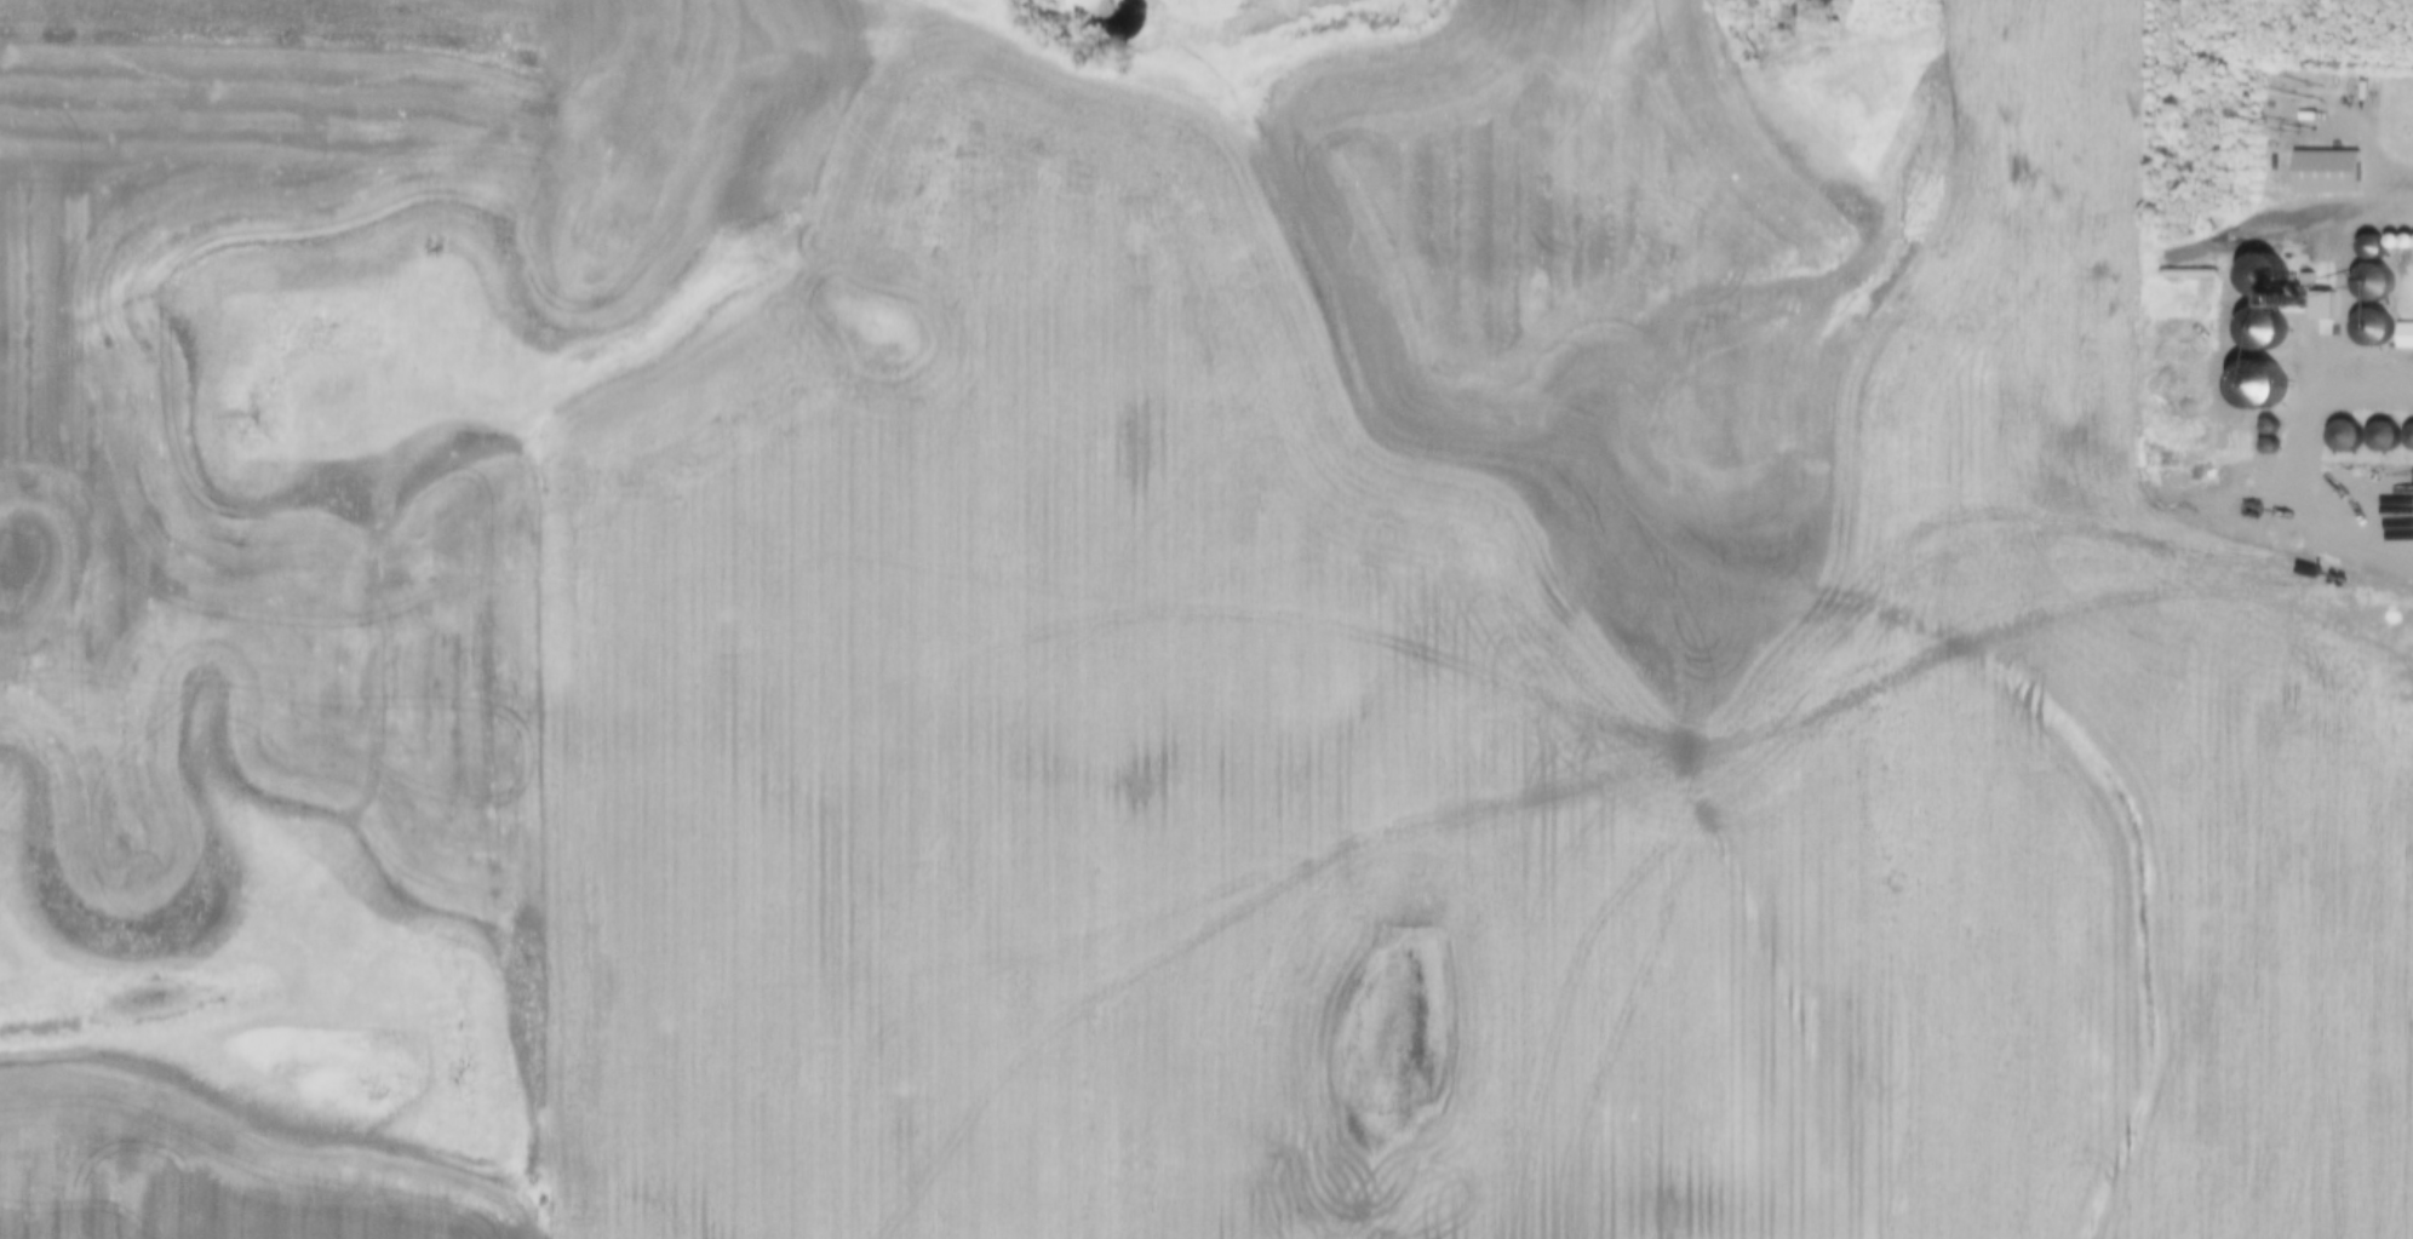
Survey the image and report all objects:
building: (2327, 176)
building: (2377, 251)
building: (2269, 280)
building: (2377, 285)
road: (2299, 303)
building: (2373, 326)
building: (2260, 332)
building: (2405, 338)
building: (2385, 438)
building: (2349, 440)

